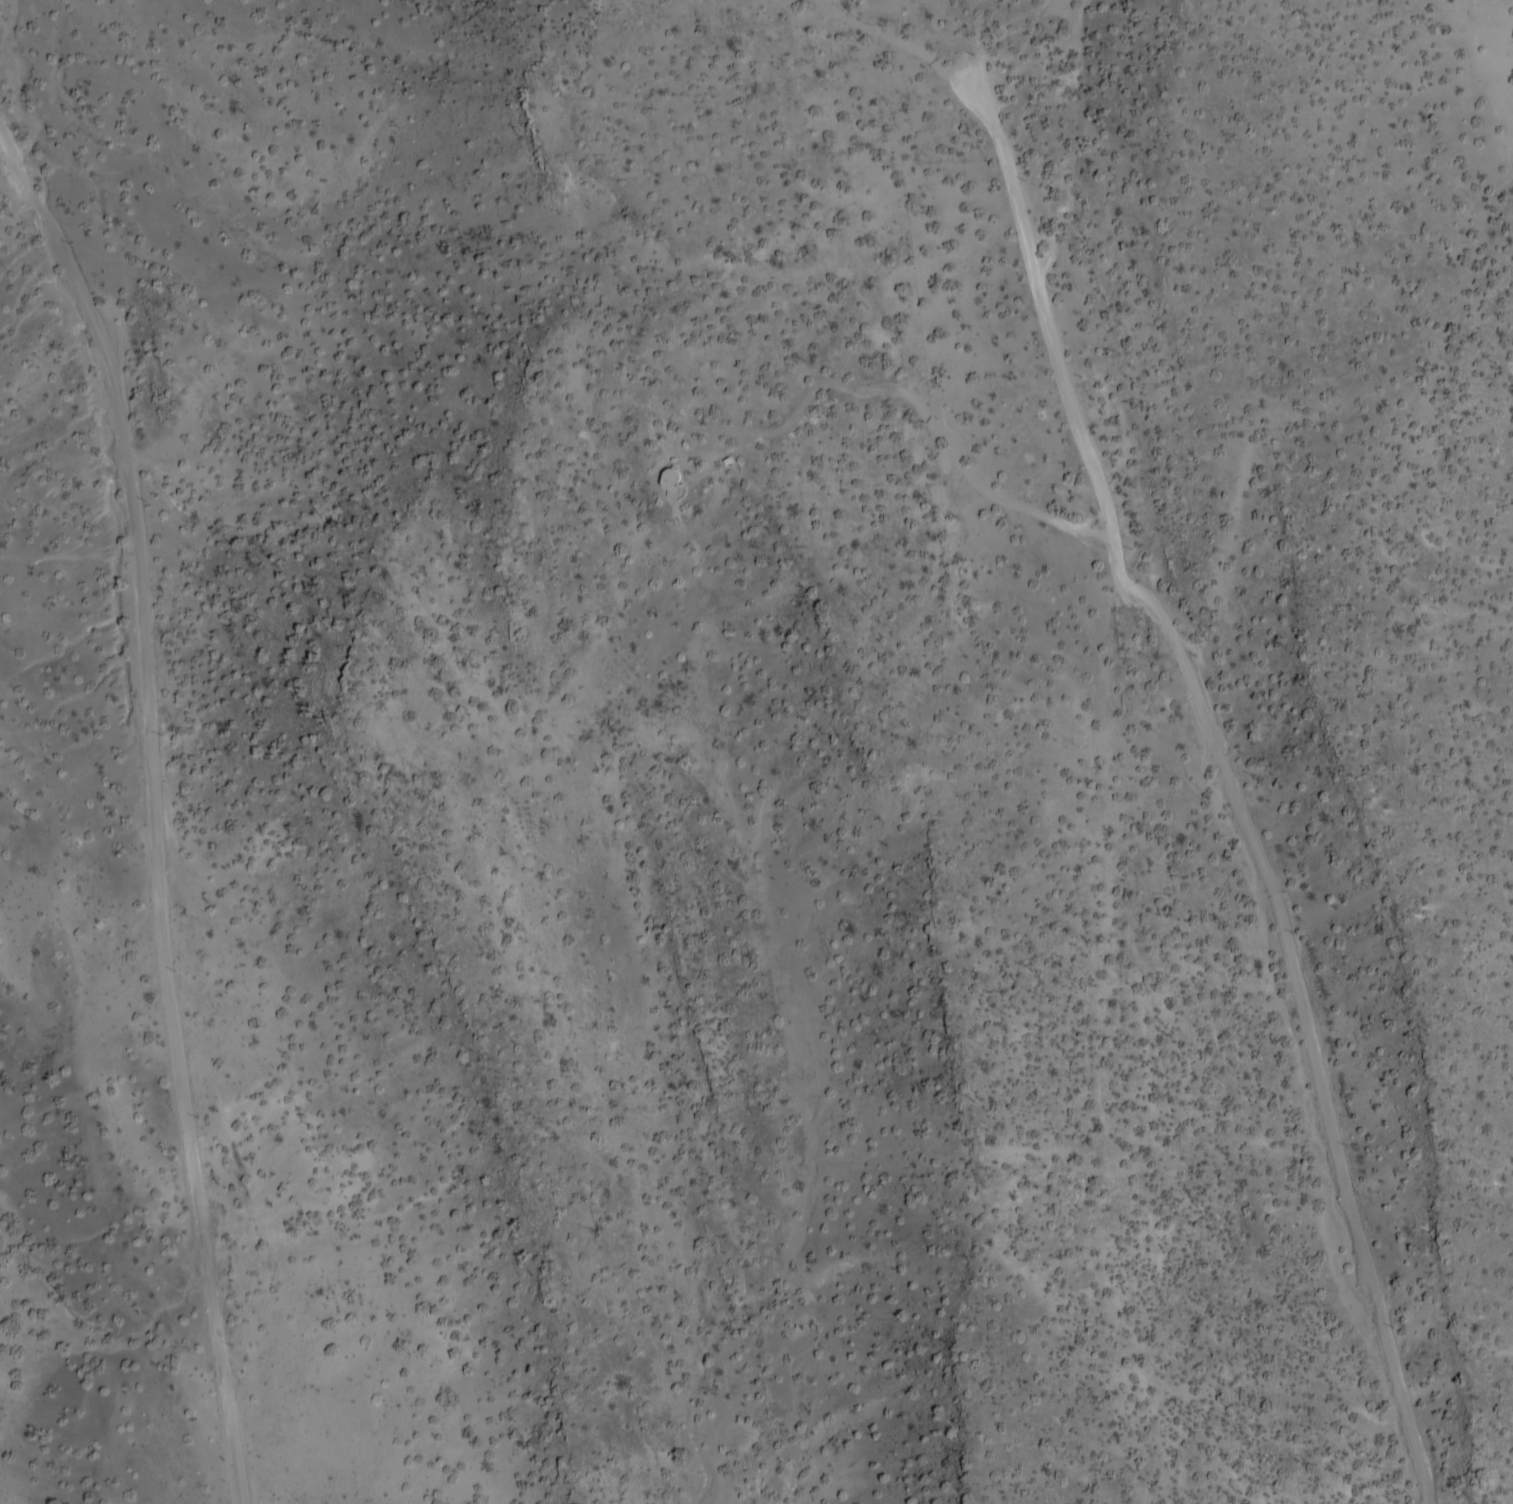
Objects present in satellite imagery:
road: (910, 37)
road: (880, 380)
storage tank: (675, 470)
building: (677, 481)
road: (1240, 782)
road: (160, 795)

